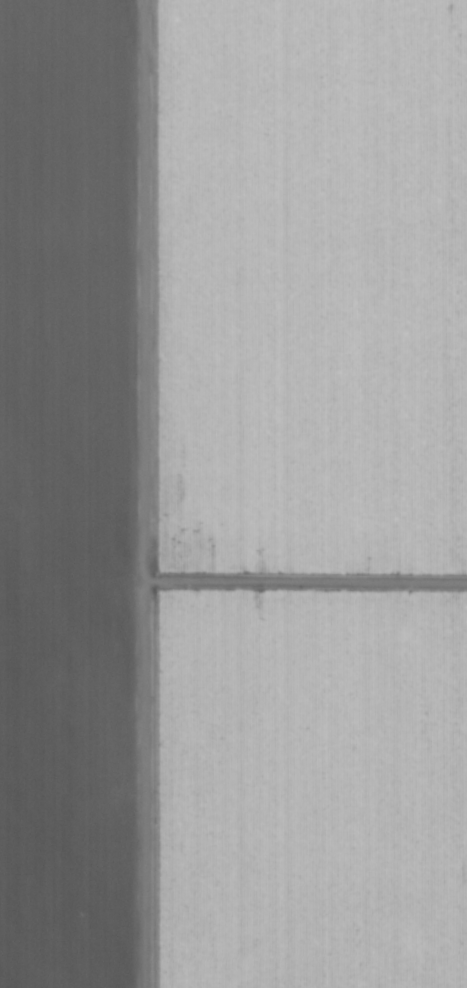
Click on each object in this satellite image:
crop: (233, 494)

